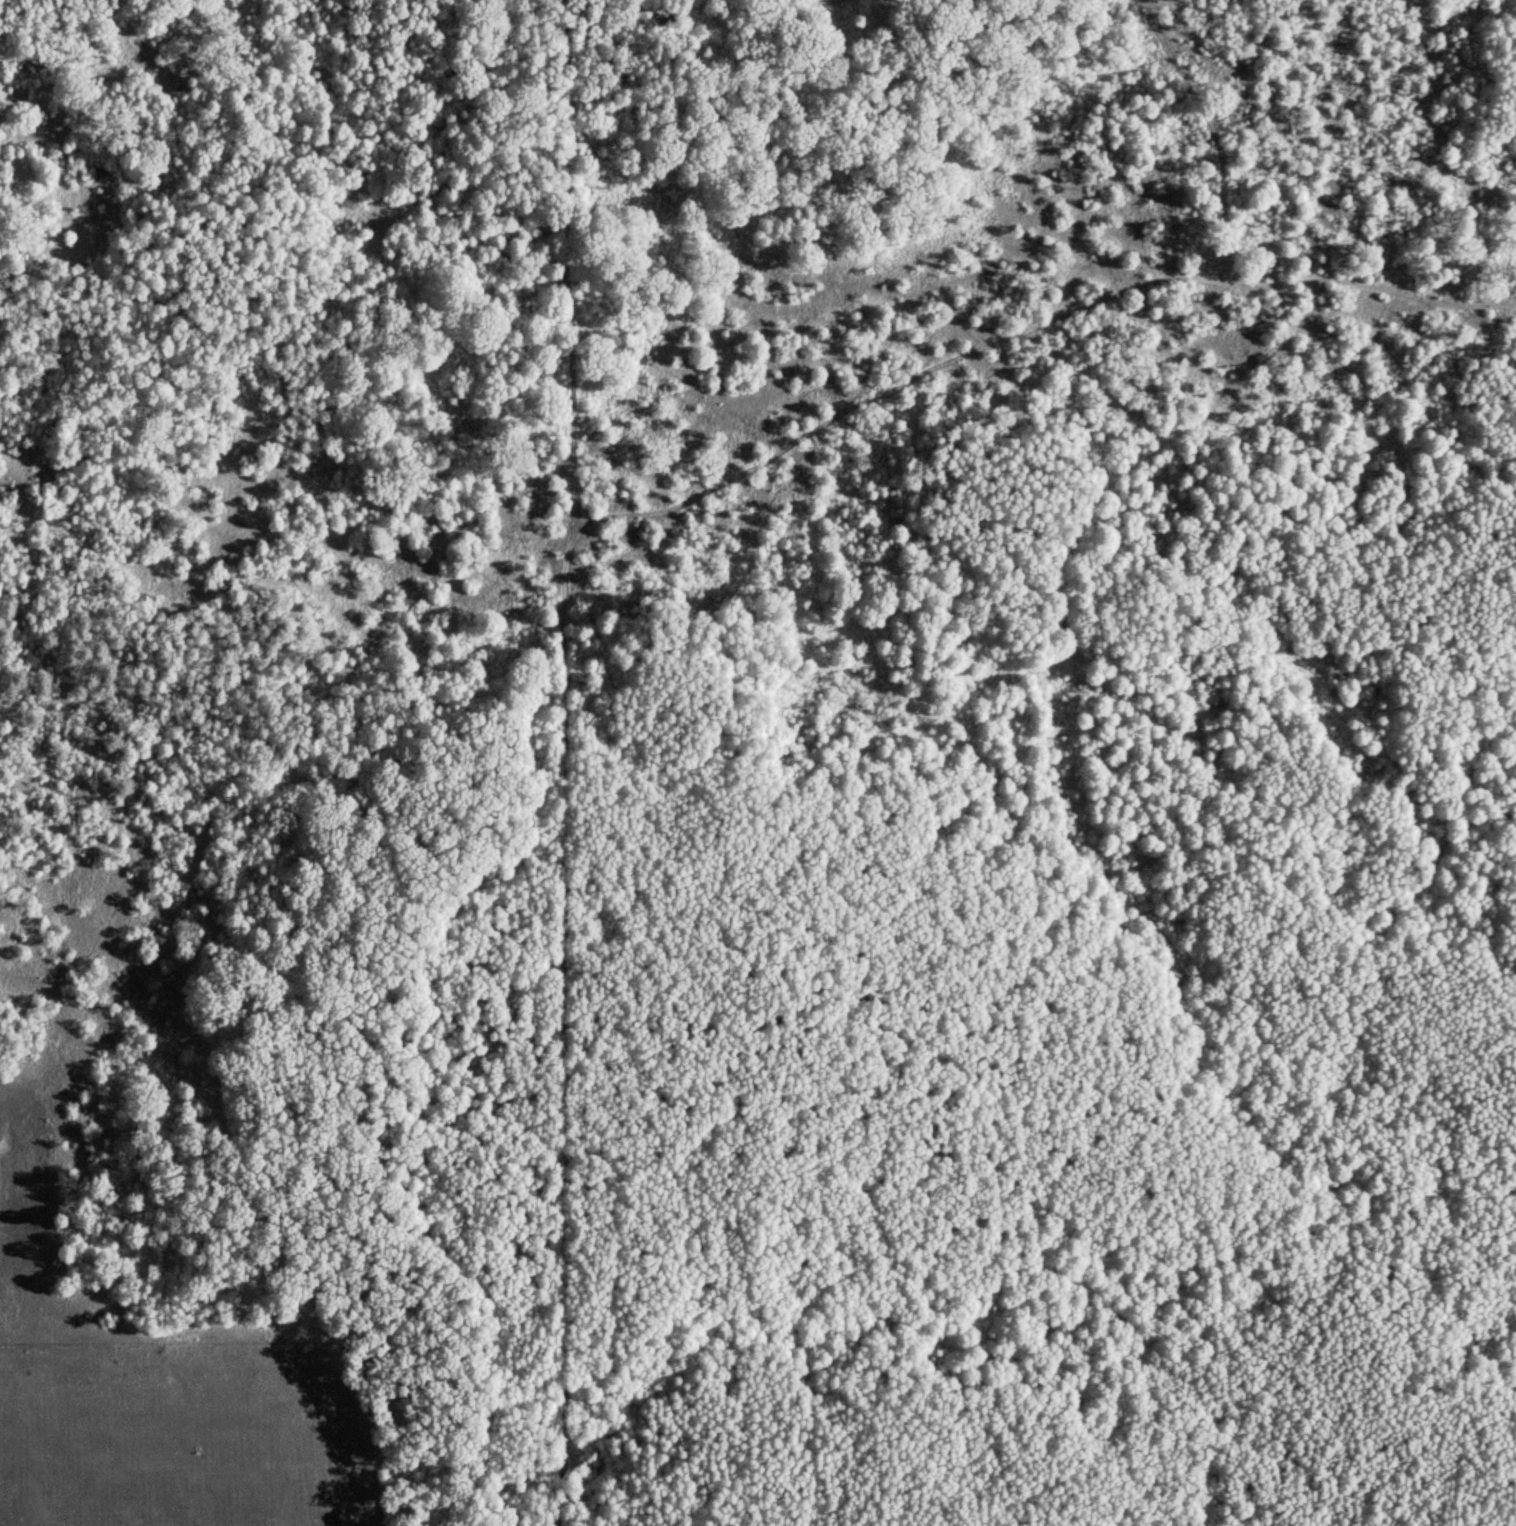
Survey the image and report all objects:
road: (1025, 331)
road: (566, 762)

